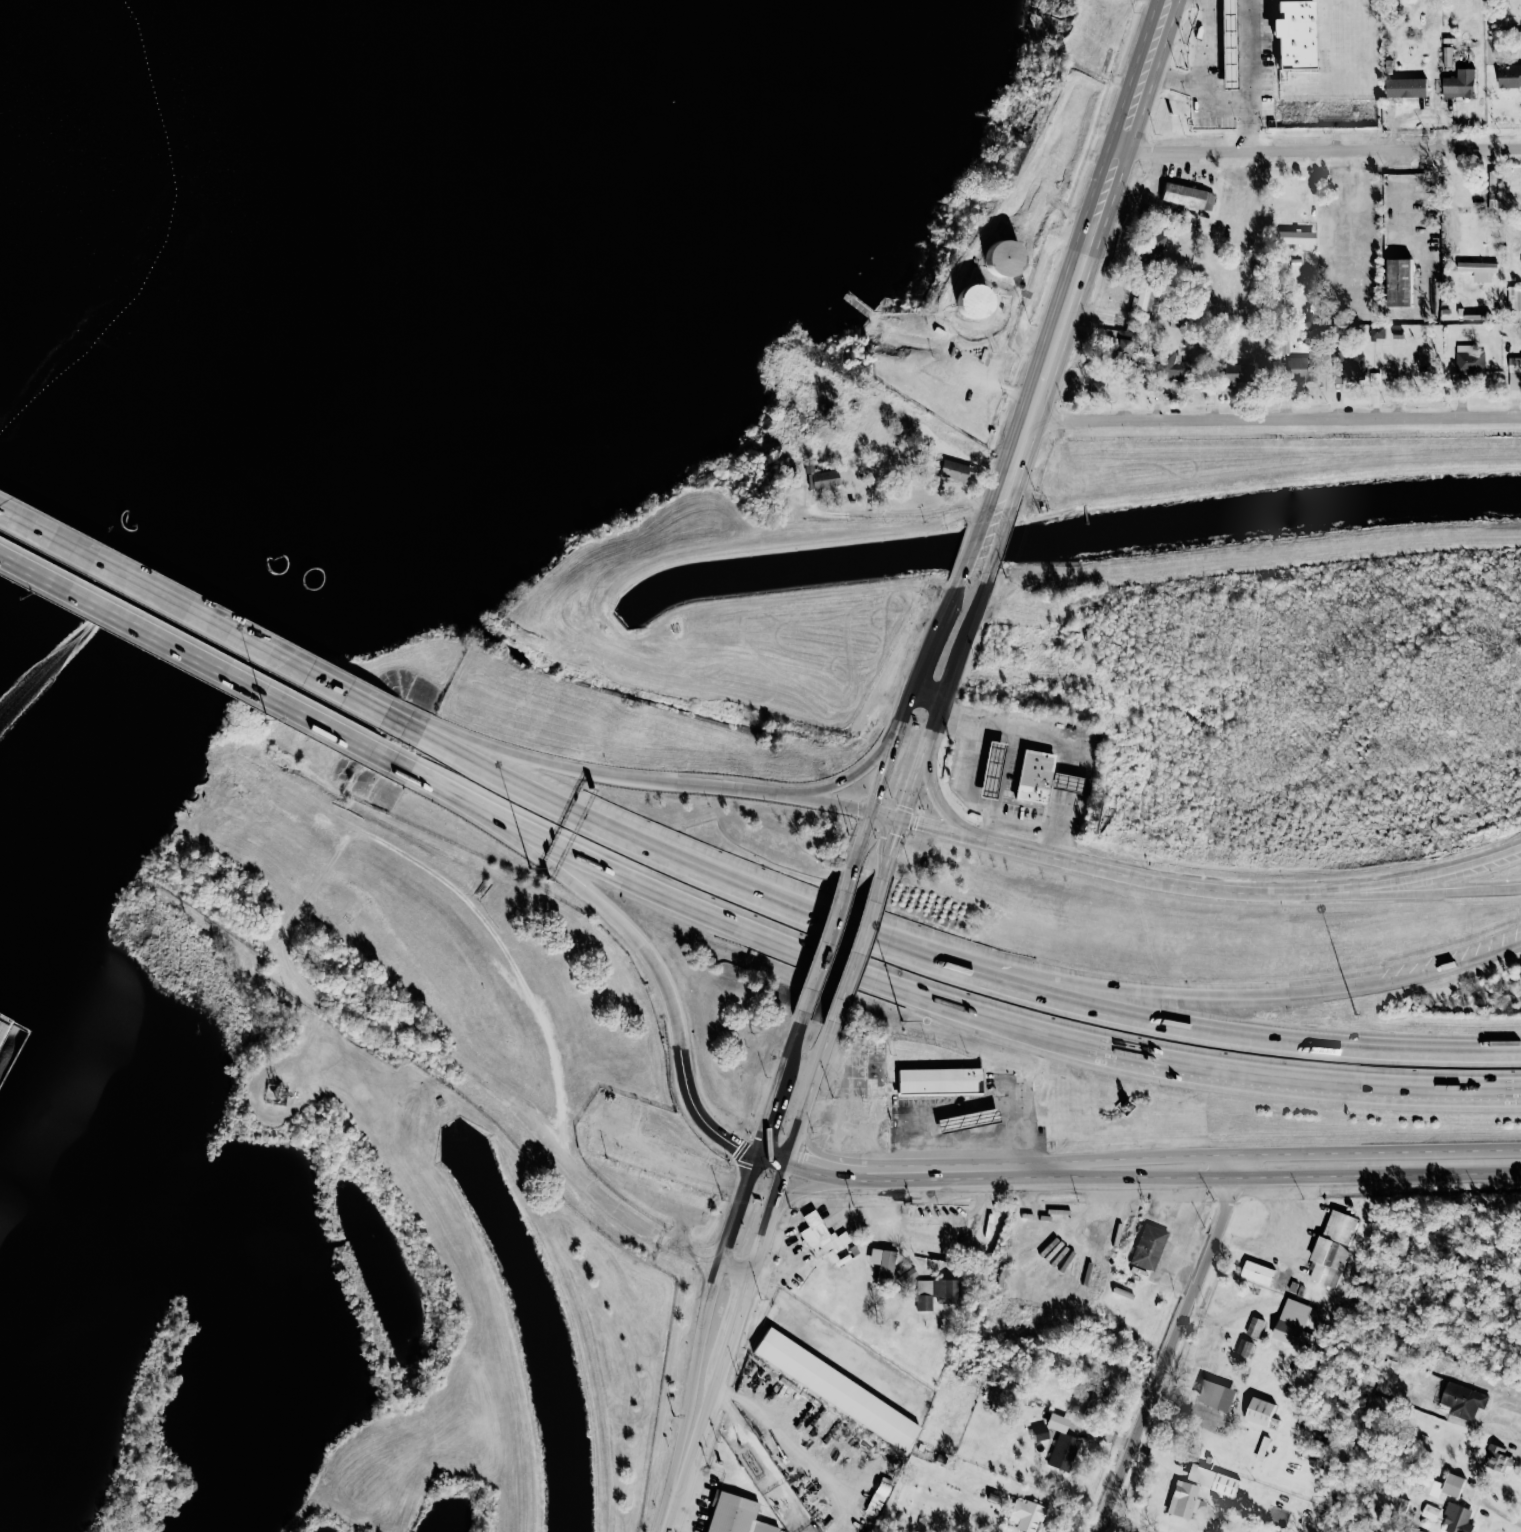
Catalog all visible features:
building: (1087, 1)
building: (1295, 34)
building: (1228, 36)
building: (1456, 55)
building: (1509, 74)
road: (1248, 75)
road: (1209, 79)
building: (1393, 82)
building: (1465, 83)
road: (1131, 112)
road: (1320, 149)
landfill: (65, 170)
building: (1183, 194)
building: (1474, 205)
building: (1238, 238)
building: (1299, 238)
building: (1153, 248)
road: (1423, 251)
building: (1005, 258)
building: (1295, 262)
building: (1477, 266)
building: (1400, 282)
road: (1037, 284)
building: (1143, 295)
building: (1514, 298)
building: (975, 301)
building: (1251, 316)
building: (1179, 319)
building: (1377, 332)
building: (1398, 333)
road: (1054, 343)
building: (1284, 346)
building: (1125, 349)
river: (265, 351)
building: (1469, 359)
building: (1349, 365)
building: (1171, 366)
building: (1301, 369)
building: (1515, 371)
building: (1215, 372)
building: (1239, 373)
building: (1375, 379)
building: (1097, 391)
road: (1275, 420)
building: (928, 463)
building: (956, 470)
building: (926, 475)
building: (826, 480)
road: (995, 483)
road: (1015, 485)
building: (852, 500)
road: (900, 514)
road: (1000, 541)
road: (973, 543)
road: (192, 615)
road: (934, 633)
road: (965, 639)
road: (188, 658)
road: (926, 696)
river: (47, 718)
road: (891, 751)
road: (922, 761)
road: (559, 767)
building: (992, 771)
gas station: (992, 771)
building: (1035, 777)
road: (849, 778)
building: (1069, 783)
gas station: (1069, 783)
road: (930, 790)
traffic signals: (877, 794)
road: (806, 800)
road: (974, 800)
traffic signals: (918, 824)
road: (995, 833)
traffic signals: (897, 835)
road: (894, 841)
road: (860, 843)
road: (565, 872)
road: (884, 875)
road: (1193, 888)
road: (1405, 895)
road: (739, 917)
road: (825, 948)
road: (856, 956)
road: (930, 962)
road: (1437, 969)
road: (1146, 994)
road: (538, 1007)
road: (796, 1039)
road: (1314, 1081)
building: (939, 1082)
road: (772, 1105)
road: (966, 1111)
road: (702, 1113)
building: (967, 1122)
road: (603, 1126)
traffic signals: (761, 1140)
traffic signals: (736, 1145)
road: (809, 1145)
road: (791, 1150)
road: (790, 1152)
traffic signals: (808, 1155)
road: (1193, 1157)
road: (845, 1164)
road: (1137, 1178)
traffic signals: (781, 1181)
road: (801, 1191)
road: (738, 1207)
building: (1059, 1210)
building: (989, 1225)
building: (824, 1238)
building: (1149, 1247)
building: (1332, 1248)
building: (854, 1249)
building: (884, 1265)
road: (733, 1270)
building: (1257, 1272)
building: (905, 1273)
road: (713, 1284)
building: (936, 1292)
building: (1294, 1324)
road: (734, 1325)
building: (1255, 1327)
road: (832, 1340)
road: (1170, 1344)
building: (1244, 1347)
road: (716, 1380)
building: (836, 1387)
building: (1216, 1395)
building: (1463, 1401)
building: (1260, 1411)
road: (685, 1420)
road: (748, 1433)
road: (785, 1435)
building: (1062, 1444)
building: (1497, 1459)
road: (687, 1461)
building: (1212, 1479)
building: (1453, 1485)
building: (1431, 1487)
building: (880, 1494)
building: (1183, 1499)
road: (810, 1512)
building: (1430, 1512)
building: (736, 1515)
building: (1026, 1515)
building: (1457, 1518)

